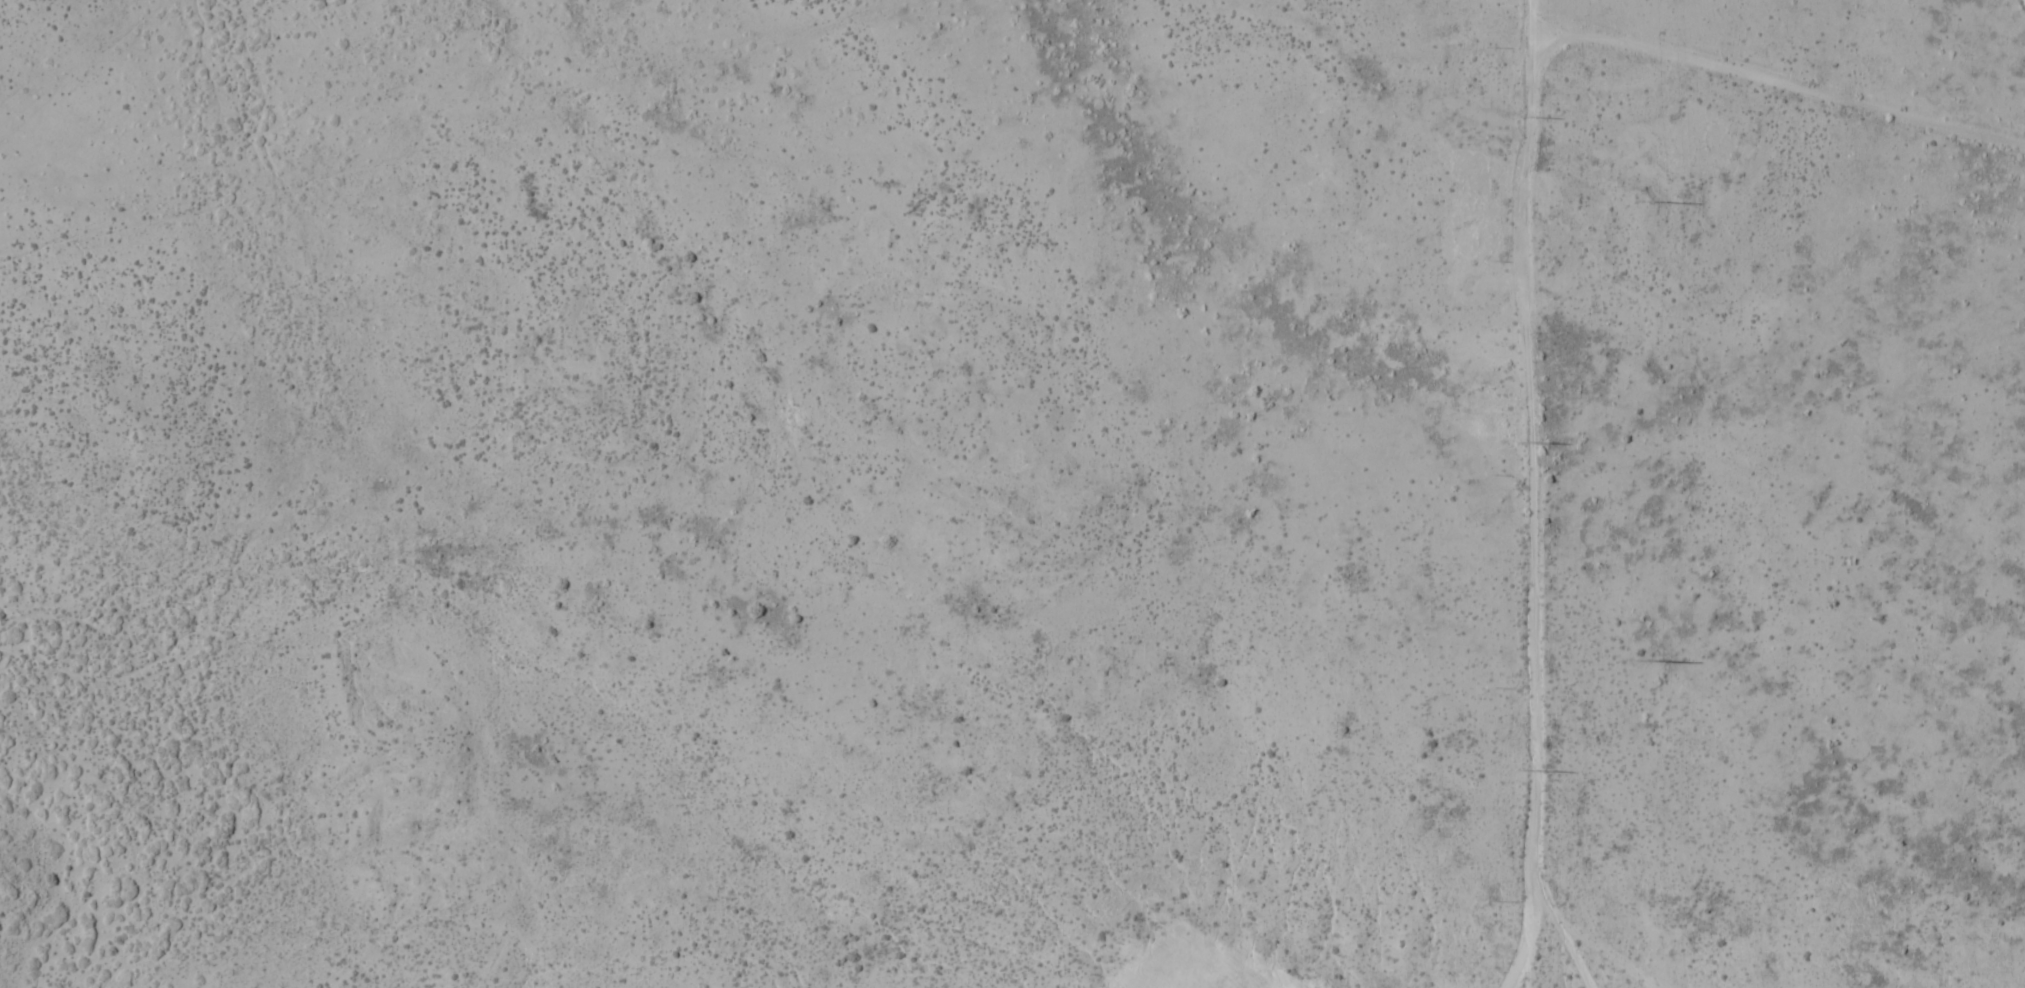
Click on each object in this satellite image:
road: (1528, 23)
power tower: (1521, 117)
power tower: (1643, 200)
road: (1519, 263)
power tower: (1523, 442)
power tower: (1646, 661)
power tower: (1526, 770)
road: (1531, 941)

